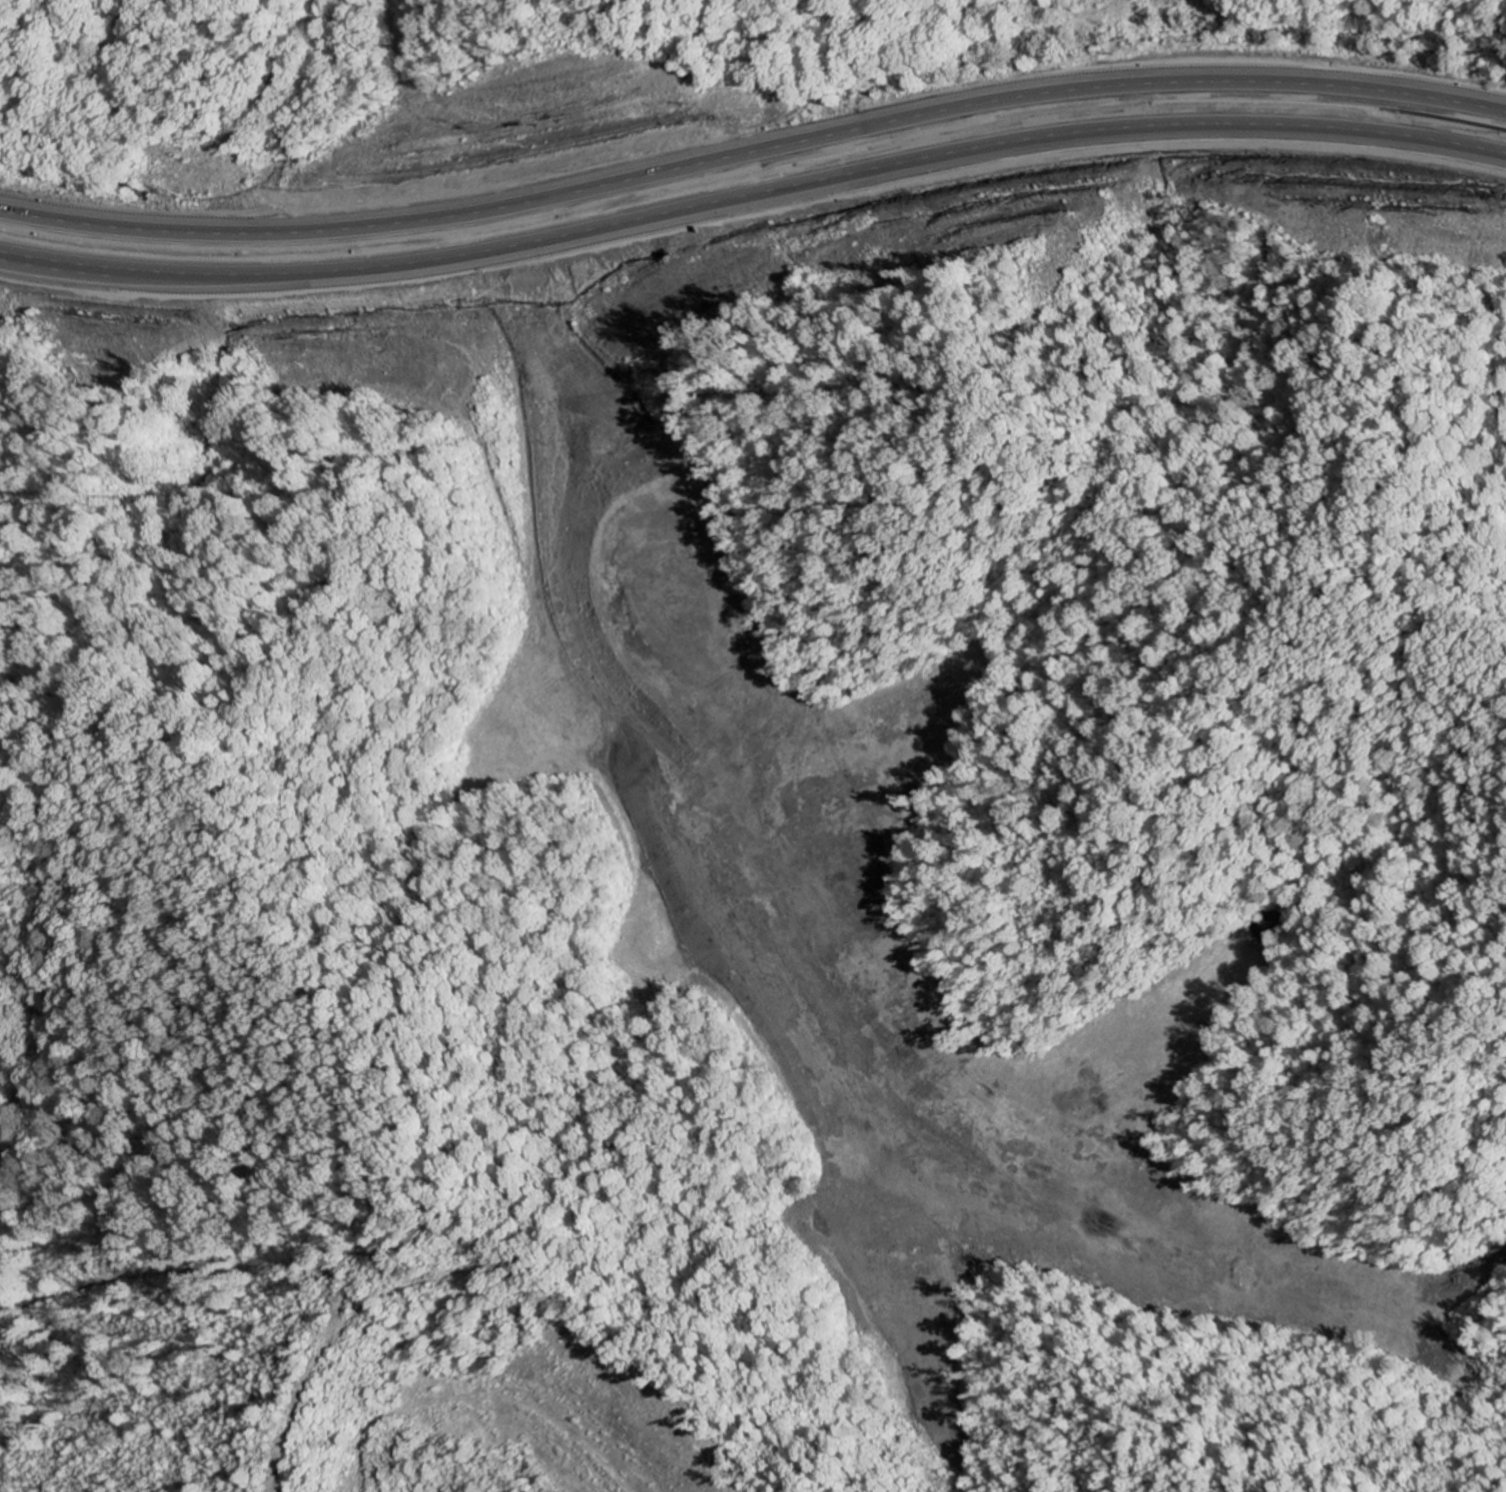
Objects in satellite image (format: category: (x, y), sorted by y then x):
road: (755, 155)
road: (755, 193)

